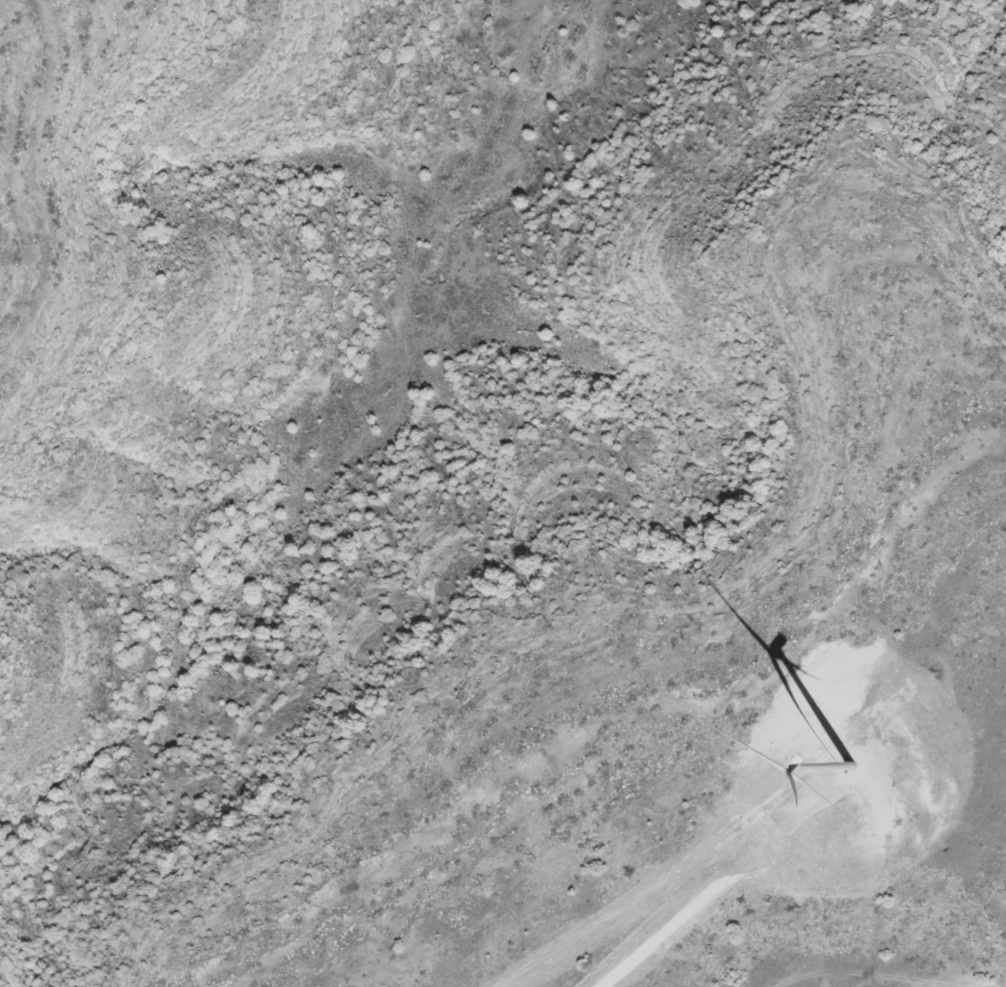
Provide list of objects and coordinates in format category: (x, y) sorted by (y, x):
wind turbine: (847, 763)

